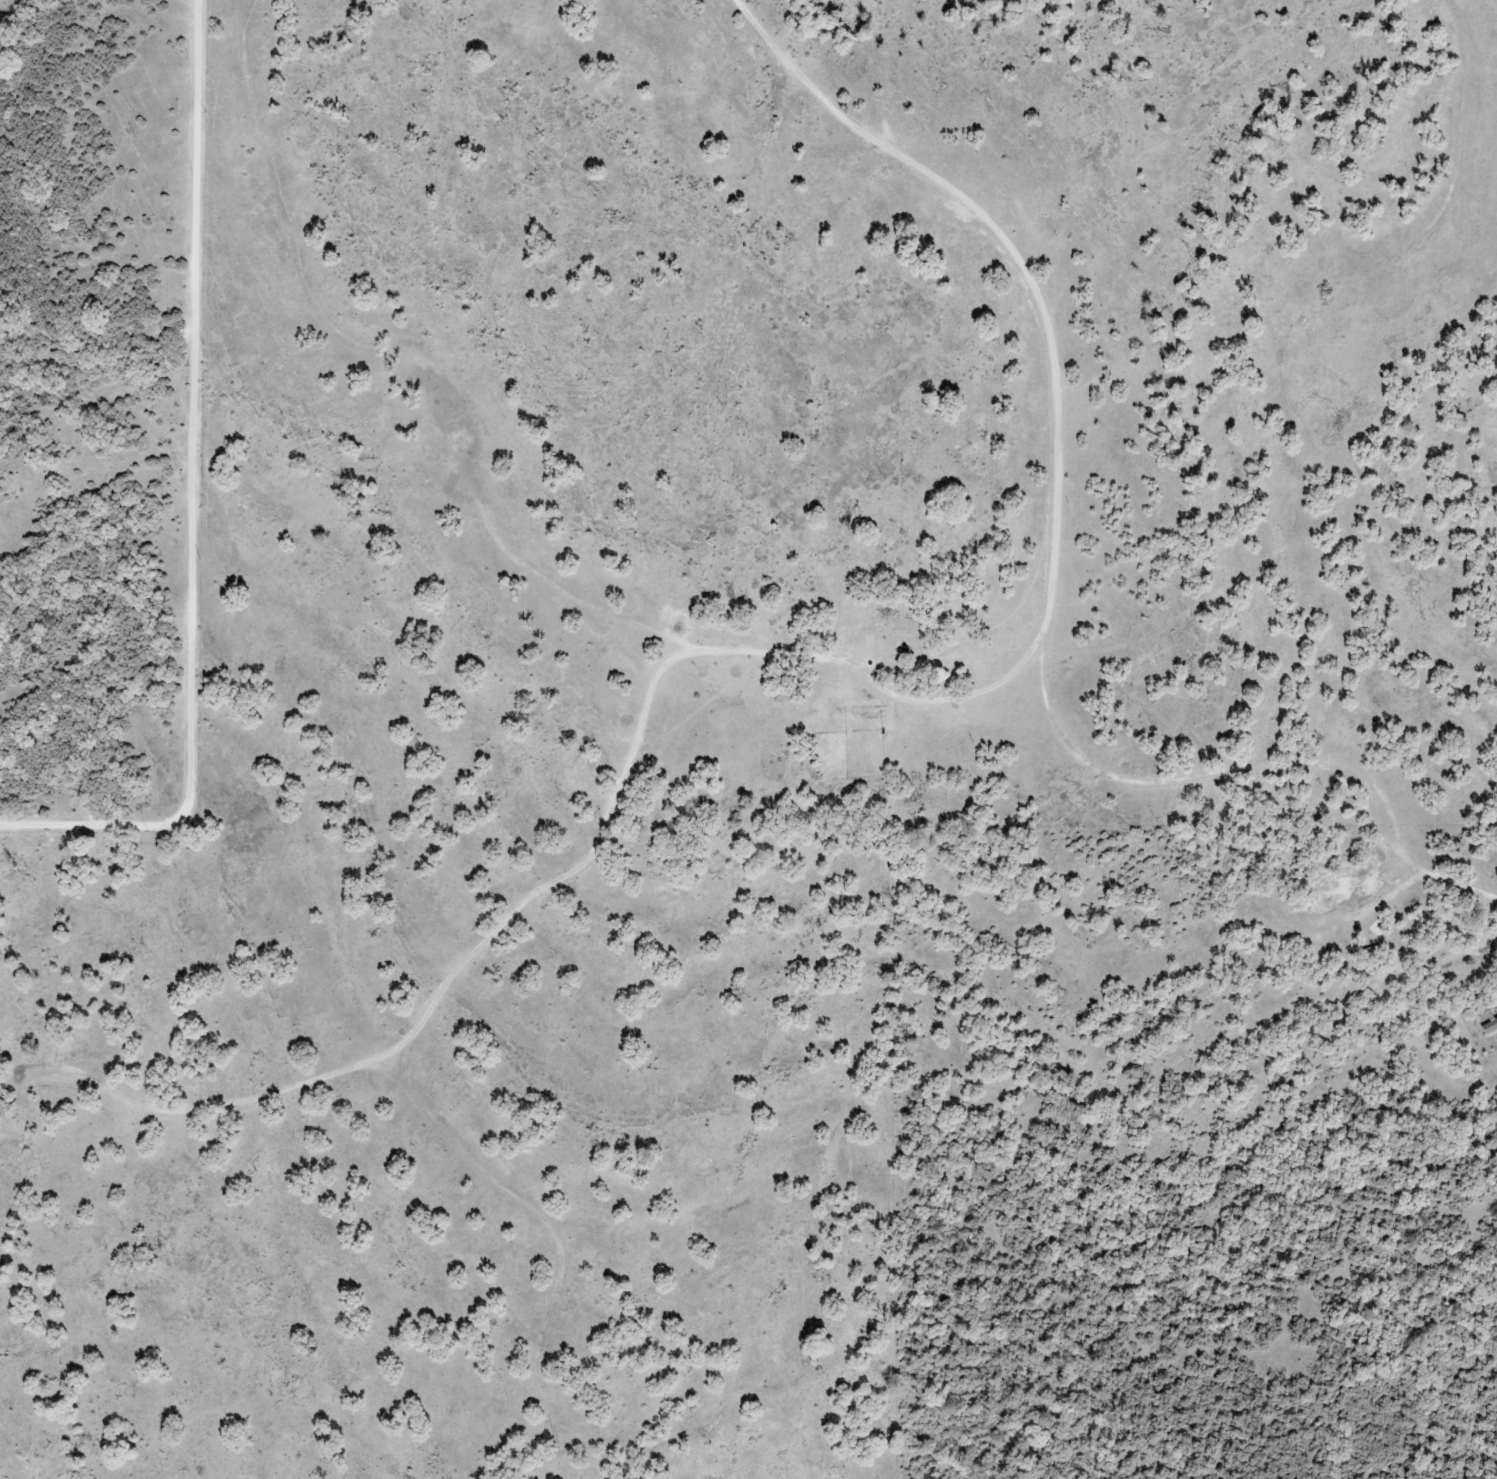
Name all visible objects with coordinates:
road: (191, 500)
building: (1484, 1015)

